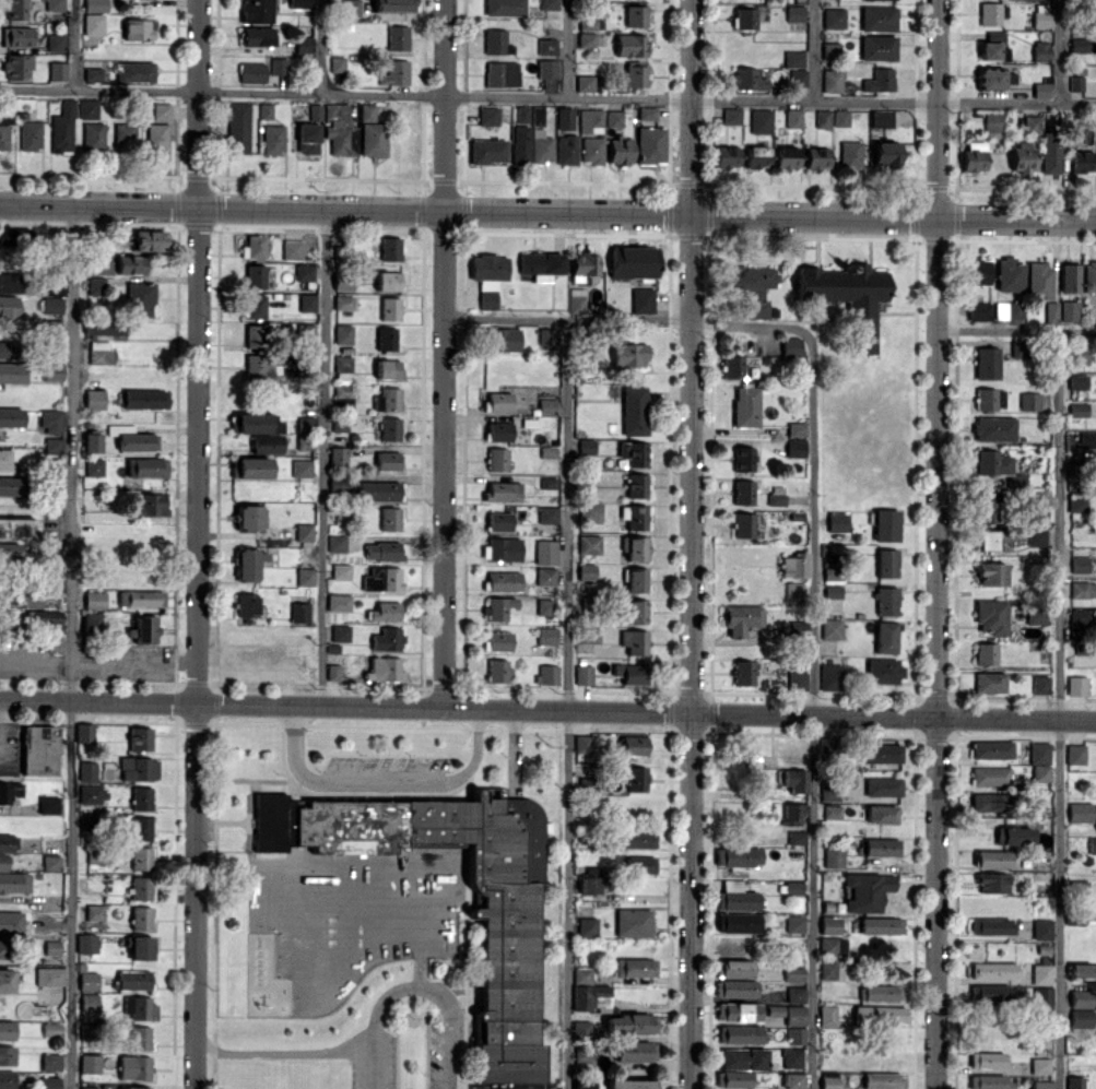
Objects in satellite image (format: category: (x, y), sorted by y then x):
building: (549, 3)
building: (54, 5)
building: (95, 5)
building: (394, 5)
building: (353, 7)
building: (505, 8)
building: (257, 11)
building: (794, 13)
building: (990, 14)
building: (636, 15)
building: (1041, 15)
building: (744, 17)
building: (834, 17)
building: (879, 19)
building: (93, 23)
building: (139, 28)
building: (587, 32)
building: (17, 36)
building: (398, 37)
building: (55, 42)
building: (496, 42)
road: (72, 43)
building: (304, 44)
road: (322, 45)
building: (631, 45)
building: (991, 45)
building: (1077, 45)
building: (547, 46)
road: (569, 47)
building: (877, 47)
road: (814, 49)
building: (830, 50)
building: (1041, 51)
road: (1059, 51)
building: (337, 63)
building: (16, 66)
building: (796, 67)
building: (262, 69)
building: (57, 70)
building: (134, 71)
building: (394, 72)
building: (502, 73)
building: (547, 73)
building: (93, 74)
building: (635, 75)
building: (990, 78)
building: (747, 79)
building: (880, 80)
building: (832, 81)
building: (585, 83)
building: (1075, 83)
building: (1042, 90)
road: (547, 93)
building: (87, 108)
building: (161, 110)
building: (264, 110)
building: (315, 113)
building: (647, 113)
building: (522, 114)
building: (487, 116)
building: (537, 116)
building: (731, 116)
building: (881, 117)
building: (564, 118)
building: (613, 118)
building: (793, 118)
building: (832, 118)
building: (590, 120)
building: (761, 120)
building: (992, 123)
building: (1030, 123)
building: (62, 128)
building: (237, 128)
building: (340, 129)
building: (4, 130)
building: (370, 132)
building: (30, 135)
building: (93, 137)
building: (123, 137)
building: (157, 138)
building: (307, 138)
building: (273, 139)
building: (519, 144)
building: (650, 145)
building: (541, 147)
building: (566, 149)
building: (592, 150)
building: (620, 150)
building: (487, 151)
building: (886, 153)
building: (1049, 153)
building: (850, 155)
building: (974, 155)
building: (727, 156)
building: (1022, 156)
building: (756, 157)
building: (787, 157)
building: (816, 157)
building: (1081, 161)
road: (547, 214)
building: (254, 247)
building: (388, 248)
building: (292, 249)
building: (130, 264)
building: (540, 264)
building: (582, 264)
building: (101, 267)
building: (977, 271)
building: (304, 272)
building: (1009, 274)
building: (255, 275)
building: (1088, 275)
building: (487, 276)
building: (1069, 276)
building: (1039, 280)
building: (10, 281)
building: (387, 281)
building: (342, 284)
building: (96, 285)
building: (751, 287)
building: (848, 296)
building: (52, 297)
building: (140, 298)
building: (576, 300)
building: (307, 303)
building: (343, 303)
building: (8, 306)
building: (255, 306)
building: (389, 308)
building: (979, 310)
building: (1009, 310)
building: (1069, 310)
building: (1050, 311)
road: (627, 315)
building: (103, 328)
building: (50, 329)
building: (305, 332)
road: (1016, 332)
building: (342, 334)
building: (256, 335)
building: (547, 336)
building: (386, 338)
building: (503, 339)
building: (791, 346)
building: (5, 348)
building: (1020, 348)
building: (98, 352)
road: (444, 353)
building: (628, 354)
building: (1080, 354)
building: (987, 363)
building: (259, 366)
building: (732, 367)
building: (388, 369)
building: (12, 372)
building: (52, 372)
building: (342, 376)
building: (1077, 381)
building: (94, 399)
building: (144, 399)
building: (387, 399)
building: (990, 399)
building: (1029, 401)
building: (545, 406)
building: (745, 406)
building: (1077, 409)
building: (634, 411)
building: (11, 417)
building: (51, 421)
building: (255, 423)
building: (306, 424)
building: (389, 428)
building: (796, 428)
building: (992, 428)
building: (499, 431)
building: (93, 439)
building: (1087, 439)
building: (266, 442)
building: (54, 445)
building: (794, 448)
building: (633, 452)
building: (338, 455)
building: (4, 459)
road: (326, 459)
building: (496, 459)
building: (743, 459)
building: (387, 461)
building: (93, 466)
building: (997, 466)
building: (146, 467)
building: (250, 467)
building: (302, 467)
building: (547, 483)
building: (338, 485)
building: (636, 485)
building: (11, 486)
building: (377, 490)
building: (502, 492)
building: (743, 492)
building: (148, 504)
building: (989, 507)
building: (1076, 507)
building: (589, 511)
building: (547, 514)
building: (248, 517)
building: (636, 517)
building: (389, 518)
building: (498, 521)
building: (837, 521)
building: (743, 524)
building: (886, 524)
building: (17, 528)
building: (303, 532)
building: (1036, 536)
building: (986, 540)
building: (335, 543)
road: (197, 544)
building: (588, 544)
road: (690, 544)
road: (934, 544)
building: (503, 548)
building: (636, 548)
building: (382, 551)
building: (10, 552)
building: (545, 552)
building: (886, 563)
building: (248, 564)
building: (793, 565)
building: (1079, 565)
building: (340, 571)
building: (586, 571)
building: (990, 573)
building: (305, 576)
building: (545, 576)
building: (381, 579)
building: (636, 579)
building: (503, 581)
building: (1083, 589)
building: (793, 592)
building: (140, 597)
building: (20, 599)
building: (94, 600)
building: (886, 601)
building: (338, 602)
building: (246, 604)
building: (545, 606)
building: (497, 607)
building: (385, 611)
building: (635, 611)
building: (298, 612)
building: (1035, 615)
building: (990, 616)
building: (1079, 616)
building: (740, 618)
building: (45, 619)
building: (92, 622)
building: (829, 628)
building: (144, 629)
building: (340, 632)
building: (546, 635)
building: (590, 635)
building: (885, 637)
building: (387, 639)
building: (498, 639)
building: (634, 641)
road: (73, 650)
building: (986, 653)
building: (384, 668)
building: (882, 670)
building: (497, 671)
building: (743, 672)
building: (631, 673)
building: (584, 674)
building: (546, 675)
building: (829, 676)
building: (797, 680)
building: (990, 682)
building: (1040, 685)
building: (1076, 685)
road: (567, 701)
road: (813, 702)
road: (547, 709)
road: (1059, 710)
building: (84, 732)
building: (139, 738)
building: (582, 743)
building: (633, 745)
building: (825, 746)
building: (39, 749)
road: (292, 749)
building: (991, 749)
road: (475, 750)
building: (880, 753)
building: (1075, 754)
building: (1040, 760)
building: (138, 768)
building: (86, 770)
building: (990, 776)
building: (635, 778)
building: (794, 780)
road: (384, 782)
building: (883, 786)
building: (9, 791)
building: (90, 794)
building: (141, 798)
building: (991, 802)
building: (48, 805)
building: (832, 812)
building: (791, 813)
building: (1080, 813)
building: (881, 814)
building: (89, 822)
building: (139, 828)
building: (1014, 836)
building: (796, 837)
building: (637, 838)
building: (1092, 844)
building: (880, 847)
building: (738, 856)
building: (141, 857)
building: (833, 859)
building: (992, 859)
building: (2, 862)
building: (51, 862)
building: (640, 864)
building: (991, 881)
building: (590, 884)
building: (793, 887)
building: (141, 888)
building: (867, 890)
building: (734, 897)
building: (94, 912)
building: (141, 918)
building: (11, 922)
building: (633, 922)
building: (738, 922)
building: (794, 923)
building: (829, 925)
building: (882, 925)
building: (990, 925)
building: (587, 926)
building: (1042, 928)
building: (86, 943)
building: (832, 946)
building: (51, 947)
building: (140, 947)
building: (1, 948)
building: (635, 967)
building: (733, 968)
building: (827, 969)
building: (992, 970)
building: (1082, 970)
building: (793, 973)
building: (1040, 973)
building: (49, 975)
building: (5, 980)
building: (87, 980)
building: (133, 980)
road: (414, 984)
building: (735, 987)
building: (589, 992)
building: (877, 992)
building: (990, 992)
building: (794, 994)
building: (1041, 995)
building: (1080, 998)
building: (507, 999)
building: (89, 1003)
building: (139, 1009)
building: (738, 1011)
building: (794, 1015)
building: (826, 1015)
building: (879, 1015)
building: (1081, 1018)
building: (629, 1023)
building: (50, 1029)
building: (581, 1029)
building: (7, 1030)
building: (739, 1034)
building: (796, 1034)
building: (140, 1037)
building: (635, 1051)
road: (284, 1052)
building: (584, 1052)
building: (7, 1055)
building: (791, 1057)
building: (743, 1058)
building: (987, 1060)
building: (50, 1061)
building: (90, 1063)
building: (1039, 1065)
building: (133, 1067)
building: (7, 1079)
building: (732, 1079)
building: (828, 1079)
building: (792, 1080)
building: (883, 1080)
building: (49, 1081)
building: (990, 1081)
building: (1076, 1081)
building: (582, 1084)
building: (631, 1084)
building: (1040, 1085)
building: (86, 1087)
building: (134, 1087)

